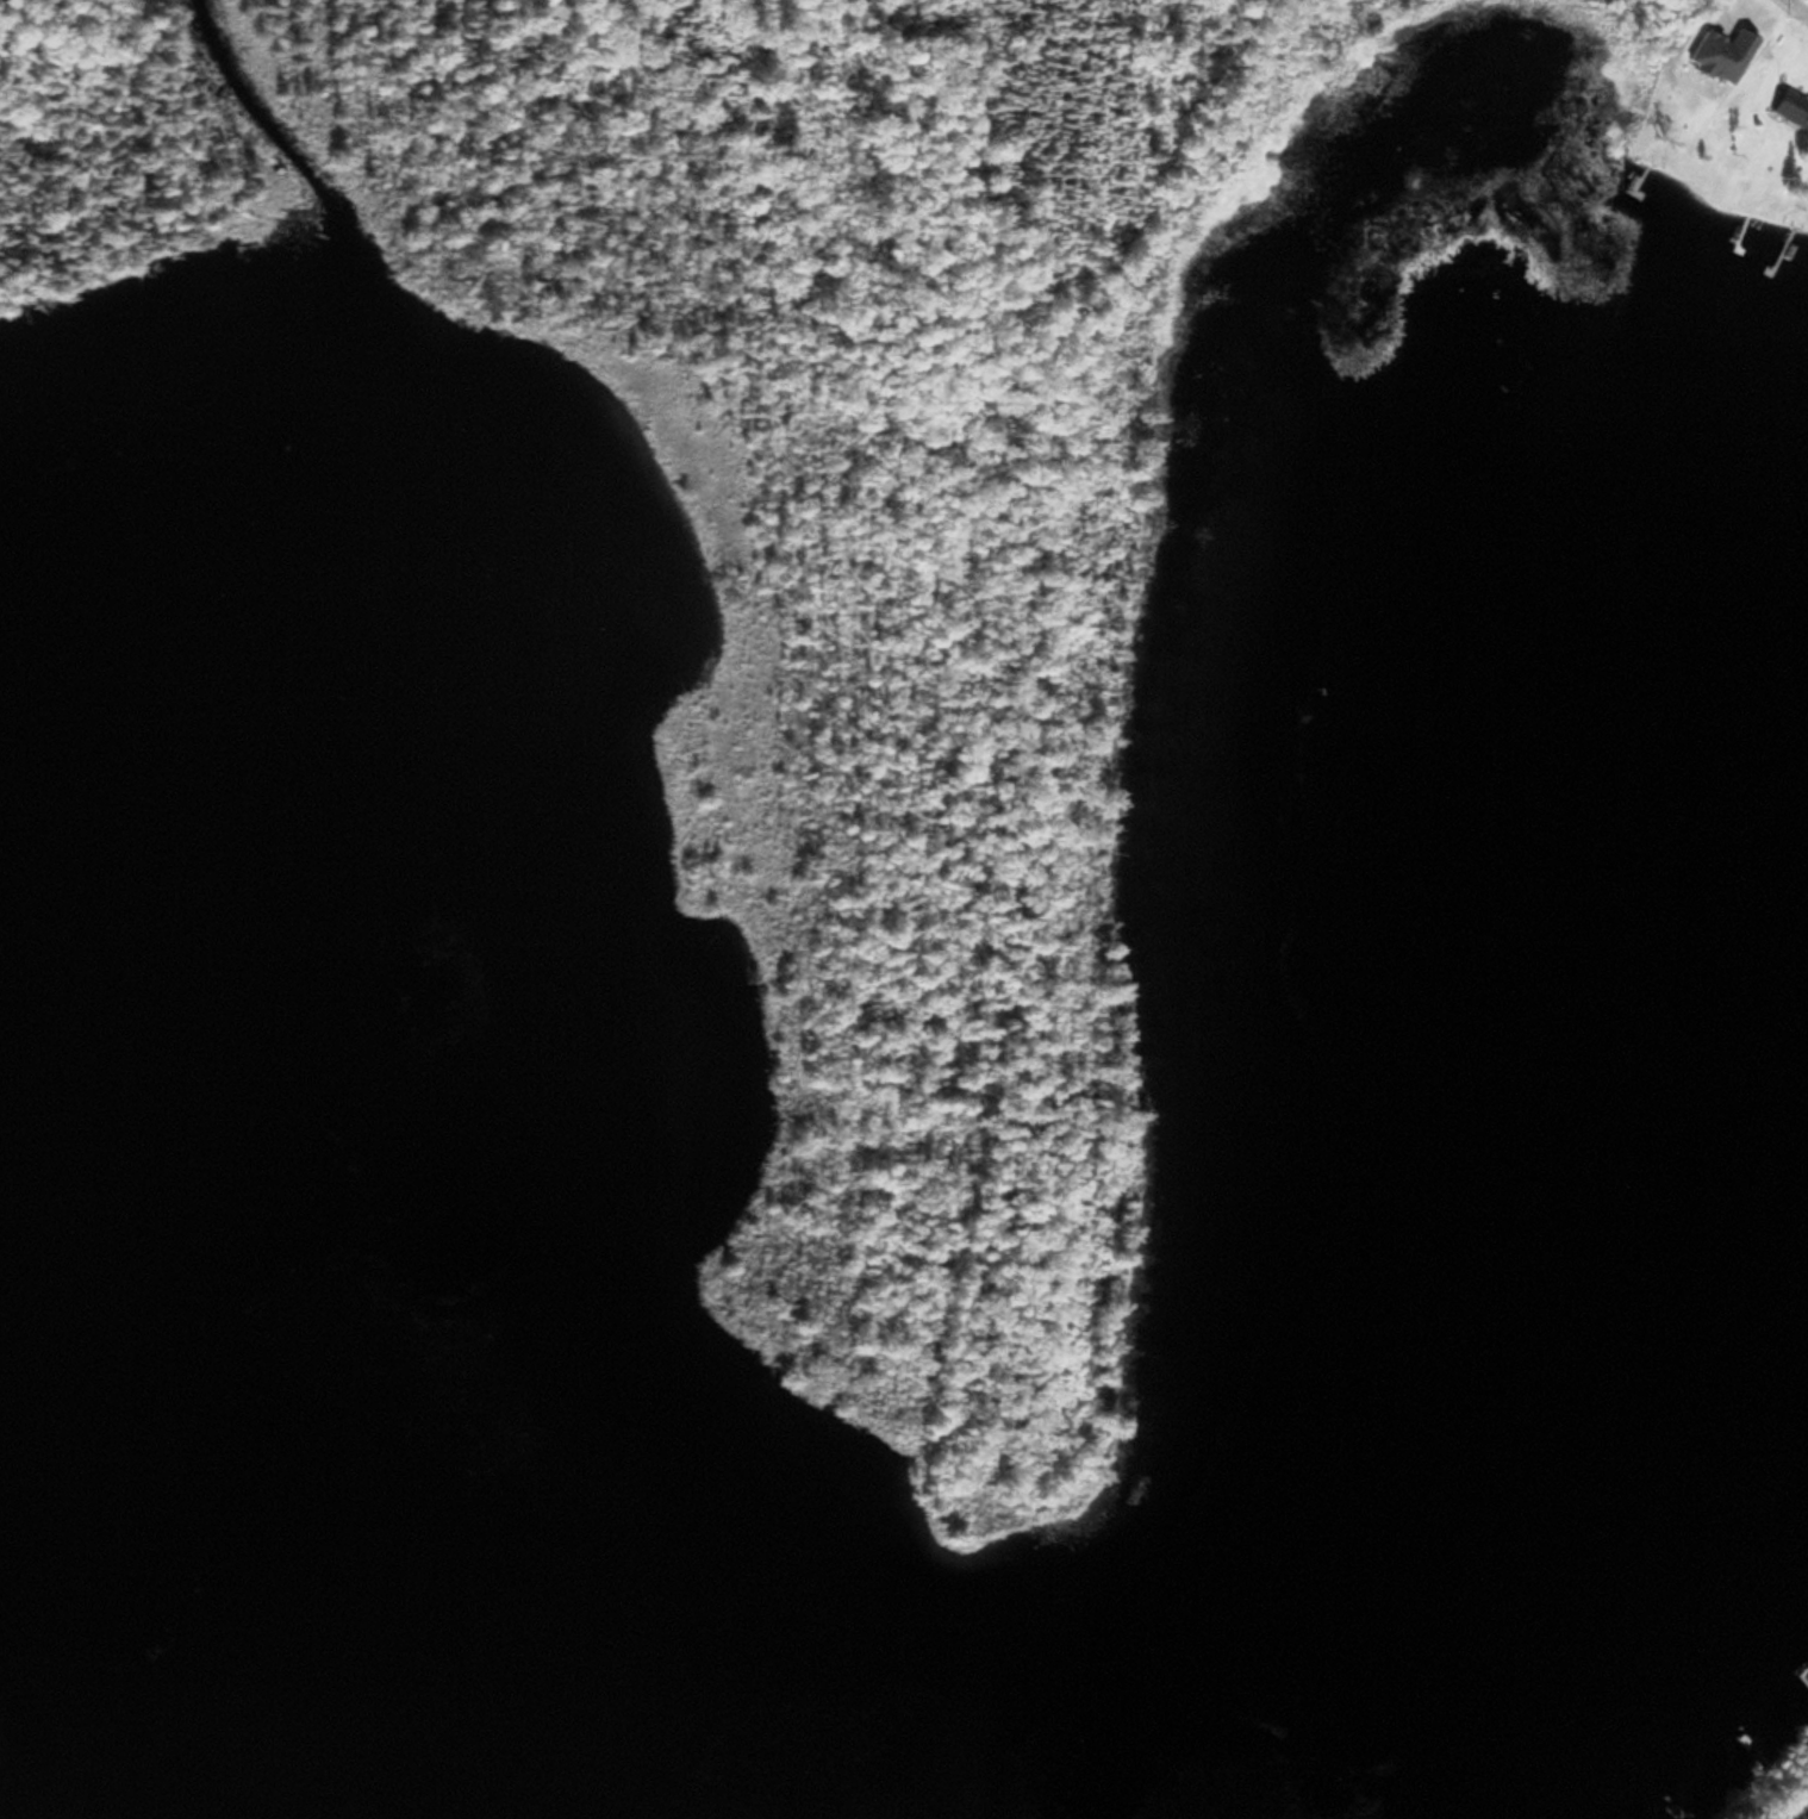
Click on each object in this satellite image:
road: (1803, 2)
building: (1716, 51)
building: (1789, 106)
building: (1791, 1818)

